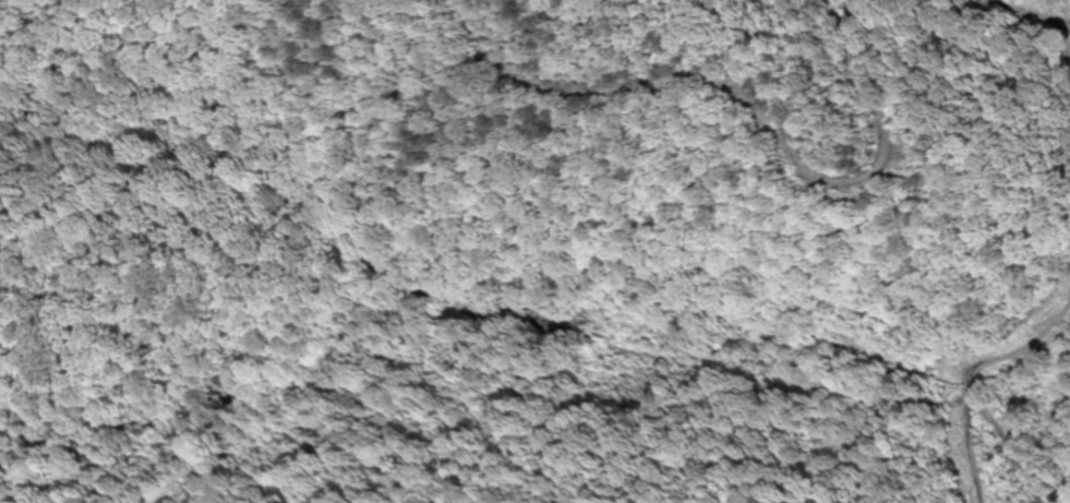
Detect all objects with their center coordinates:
road: (1056, 442)

